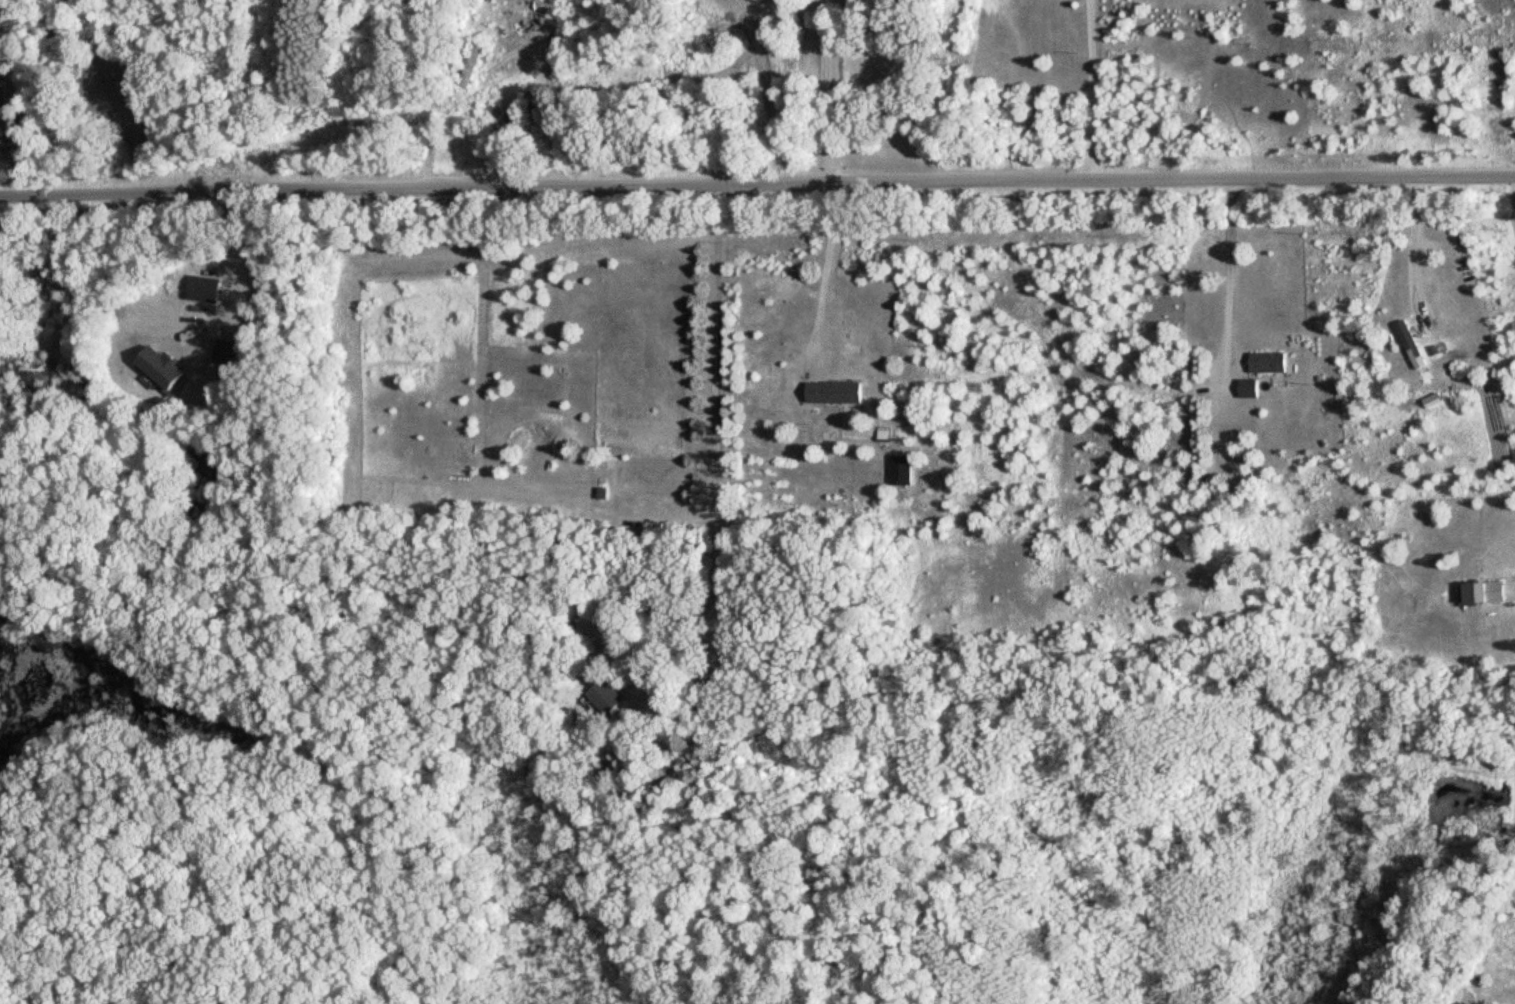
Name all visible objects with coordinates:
building: (477, 0)
building: (473, 66)
road: (1089, 89)
road: (826, 90)
road: (549, 94)
building: (534, 110)
road: (757, 182)
road: (1512, 198)
road: (1418, 234)
road: (240, 245)
road: (1225, 275)
road: (820, 276)
building: (204, 292)
building: (1413, 348)
building: (220, 360)
building: (1268, 365)
building: (160, 371)
building: (1249, 390)
building: (835, 394)
road: (713, 432)
building: (901, 473)
building: (1485, 593)
building: (605, 700)

